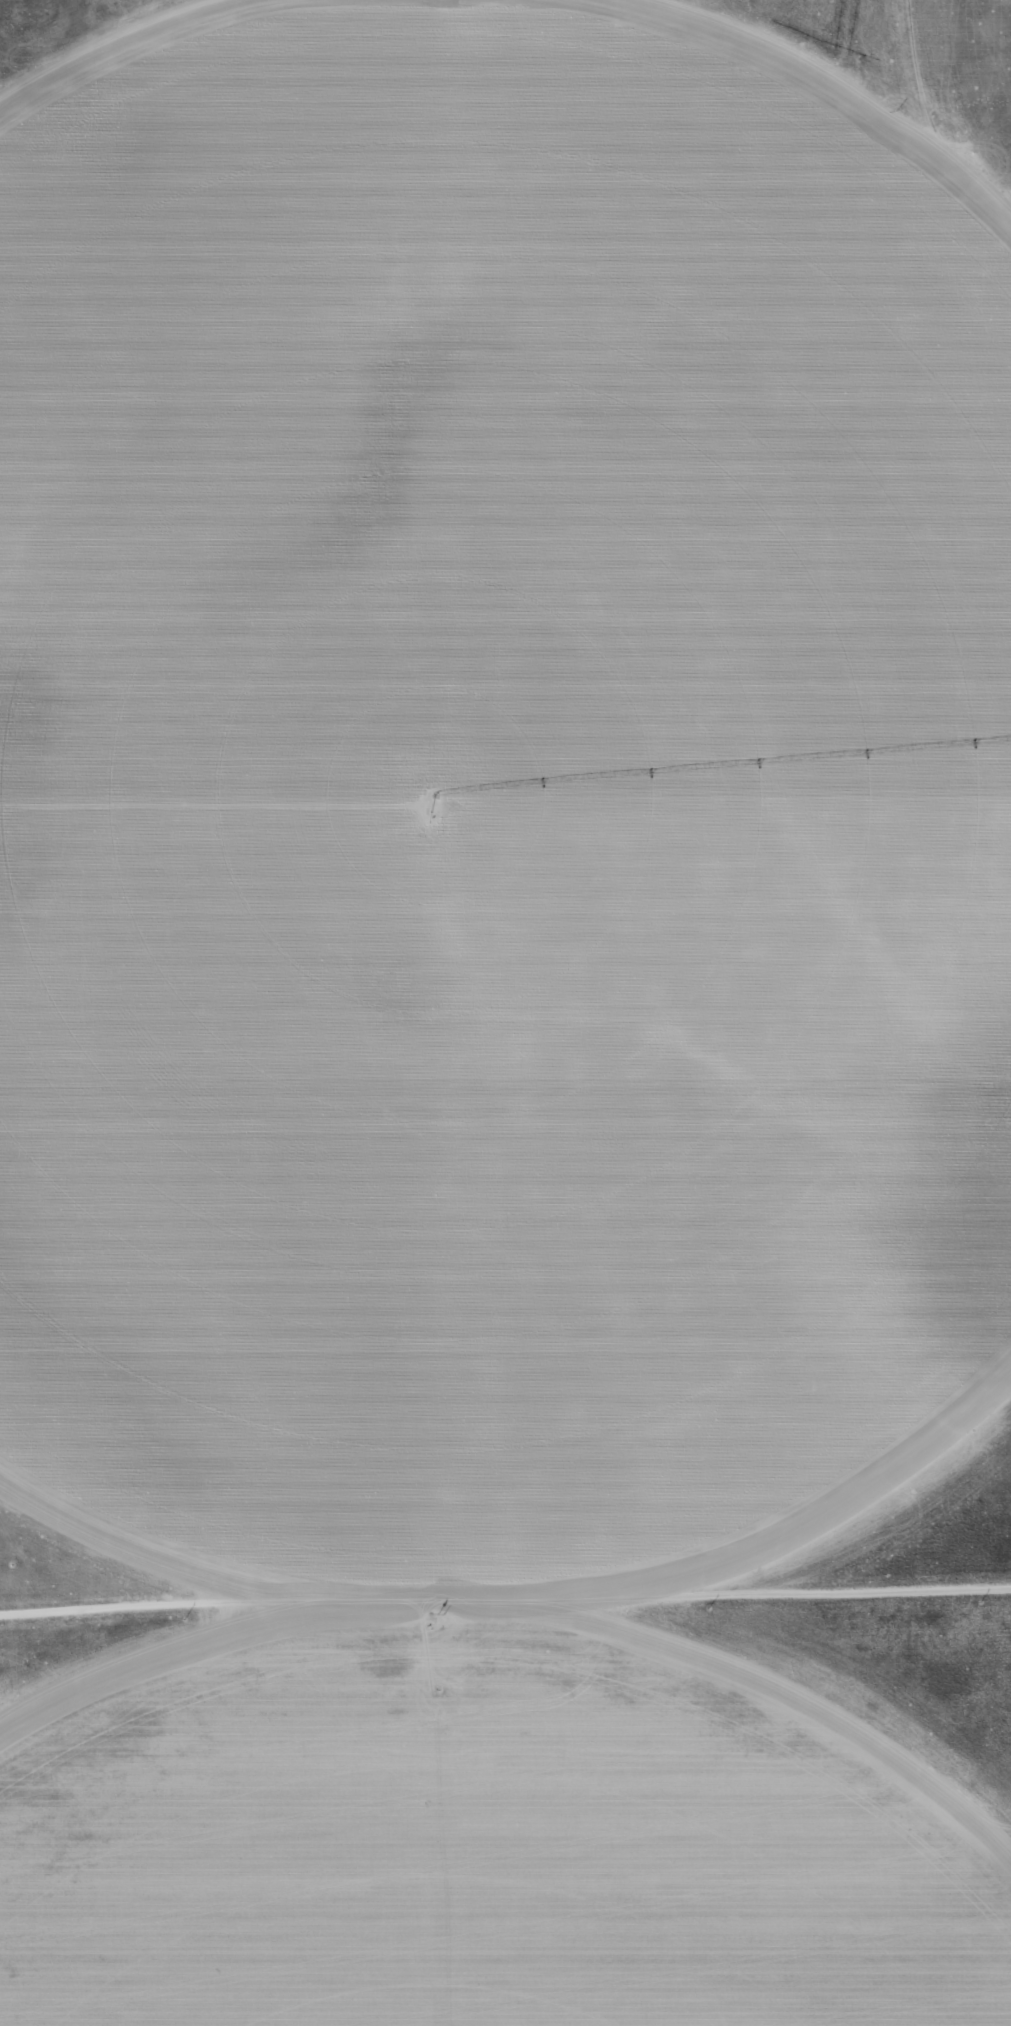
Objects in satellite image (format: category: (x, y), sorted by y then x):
road: (505, 1588)

